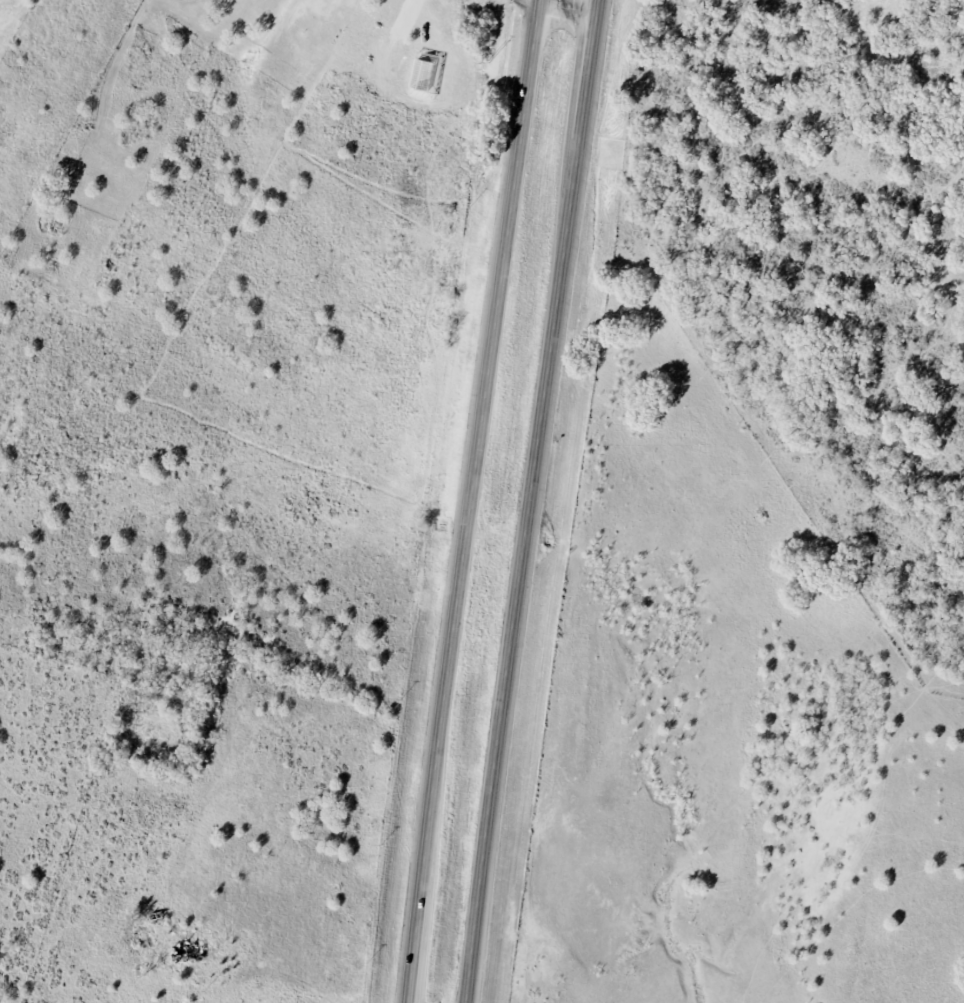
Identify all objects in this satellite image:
road: (567, 7)
road: (472, 501)
road: (534, 501)

